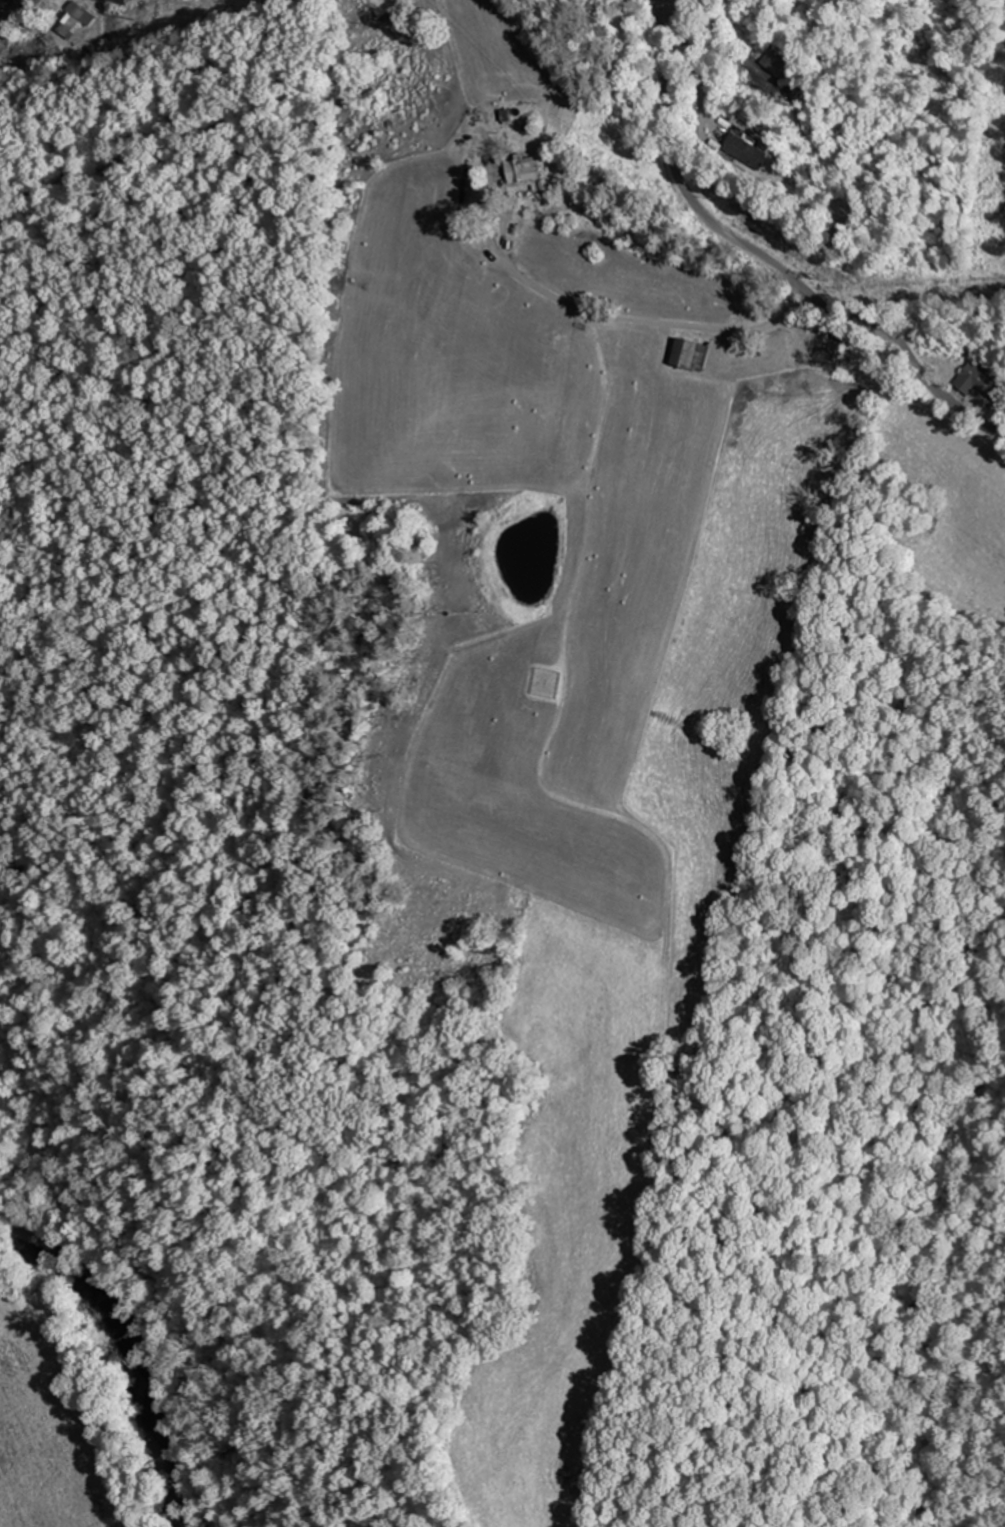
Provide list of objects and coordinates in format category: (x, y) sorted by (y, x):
building: (80, 21)
building: (748, 152)
building: (524, 169)
road: (766, 259)
road: (694, 260)
road: (707, 312)
building: (696, 354)
building: (828, 354)
river: (131, 1349)

